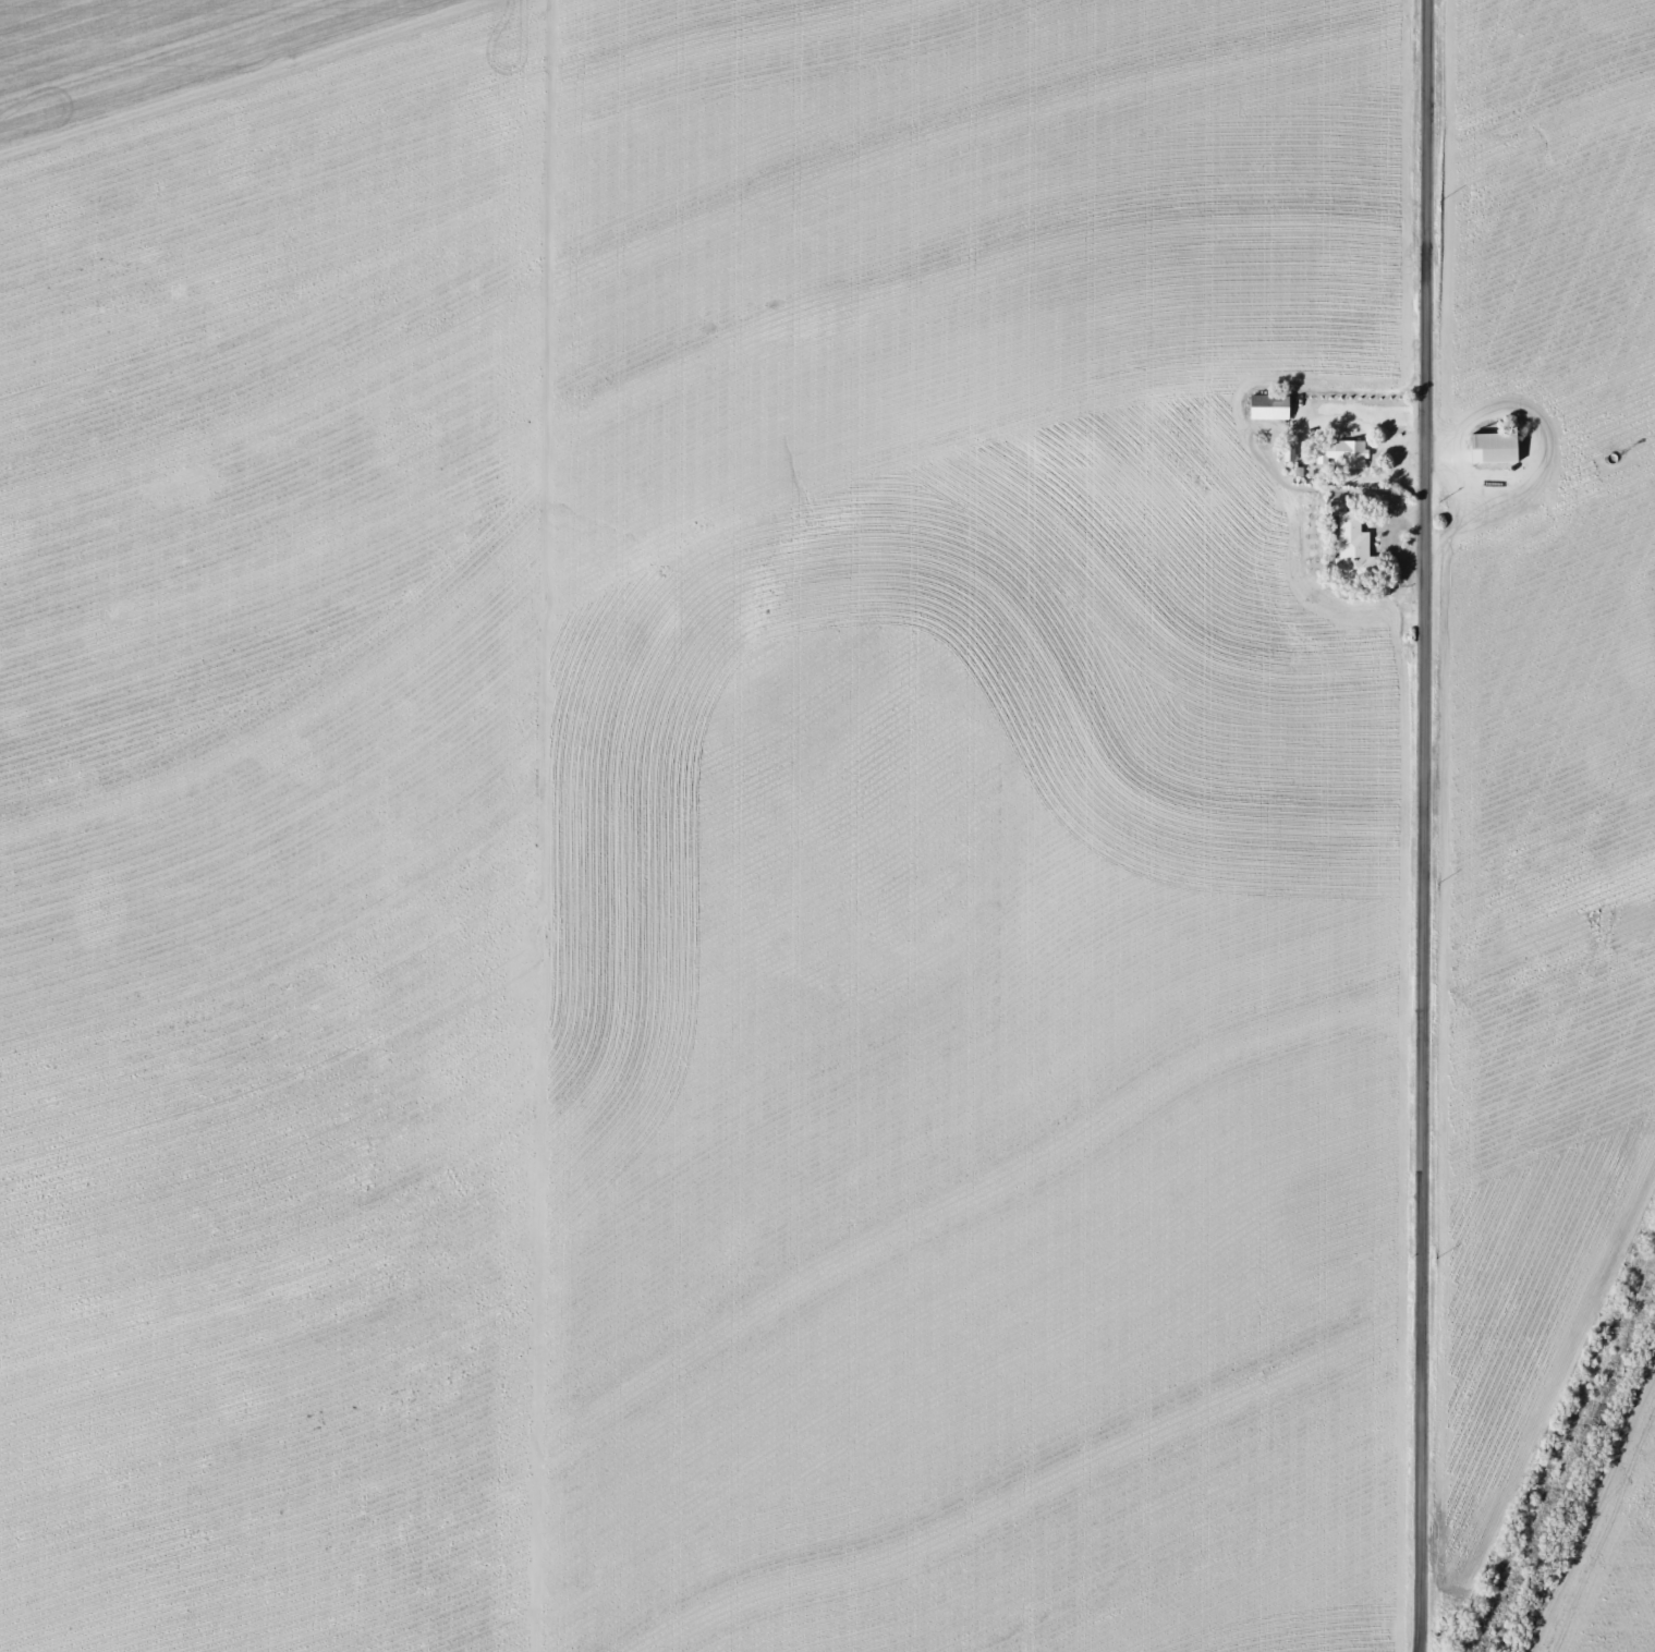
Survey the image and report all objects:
building: (1267, 406)
building: (1492, 447)
road: (1417, 826)
railway: (1569, 1460)

